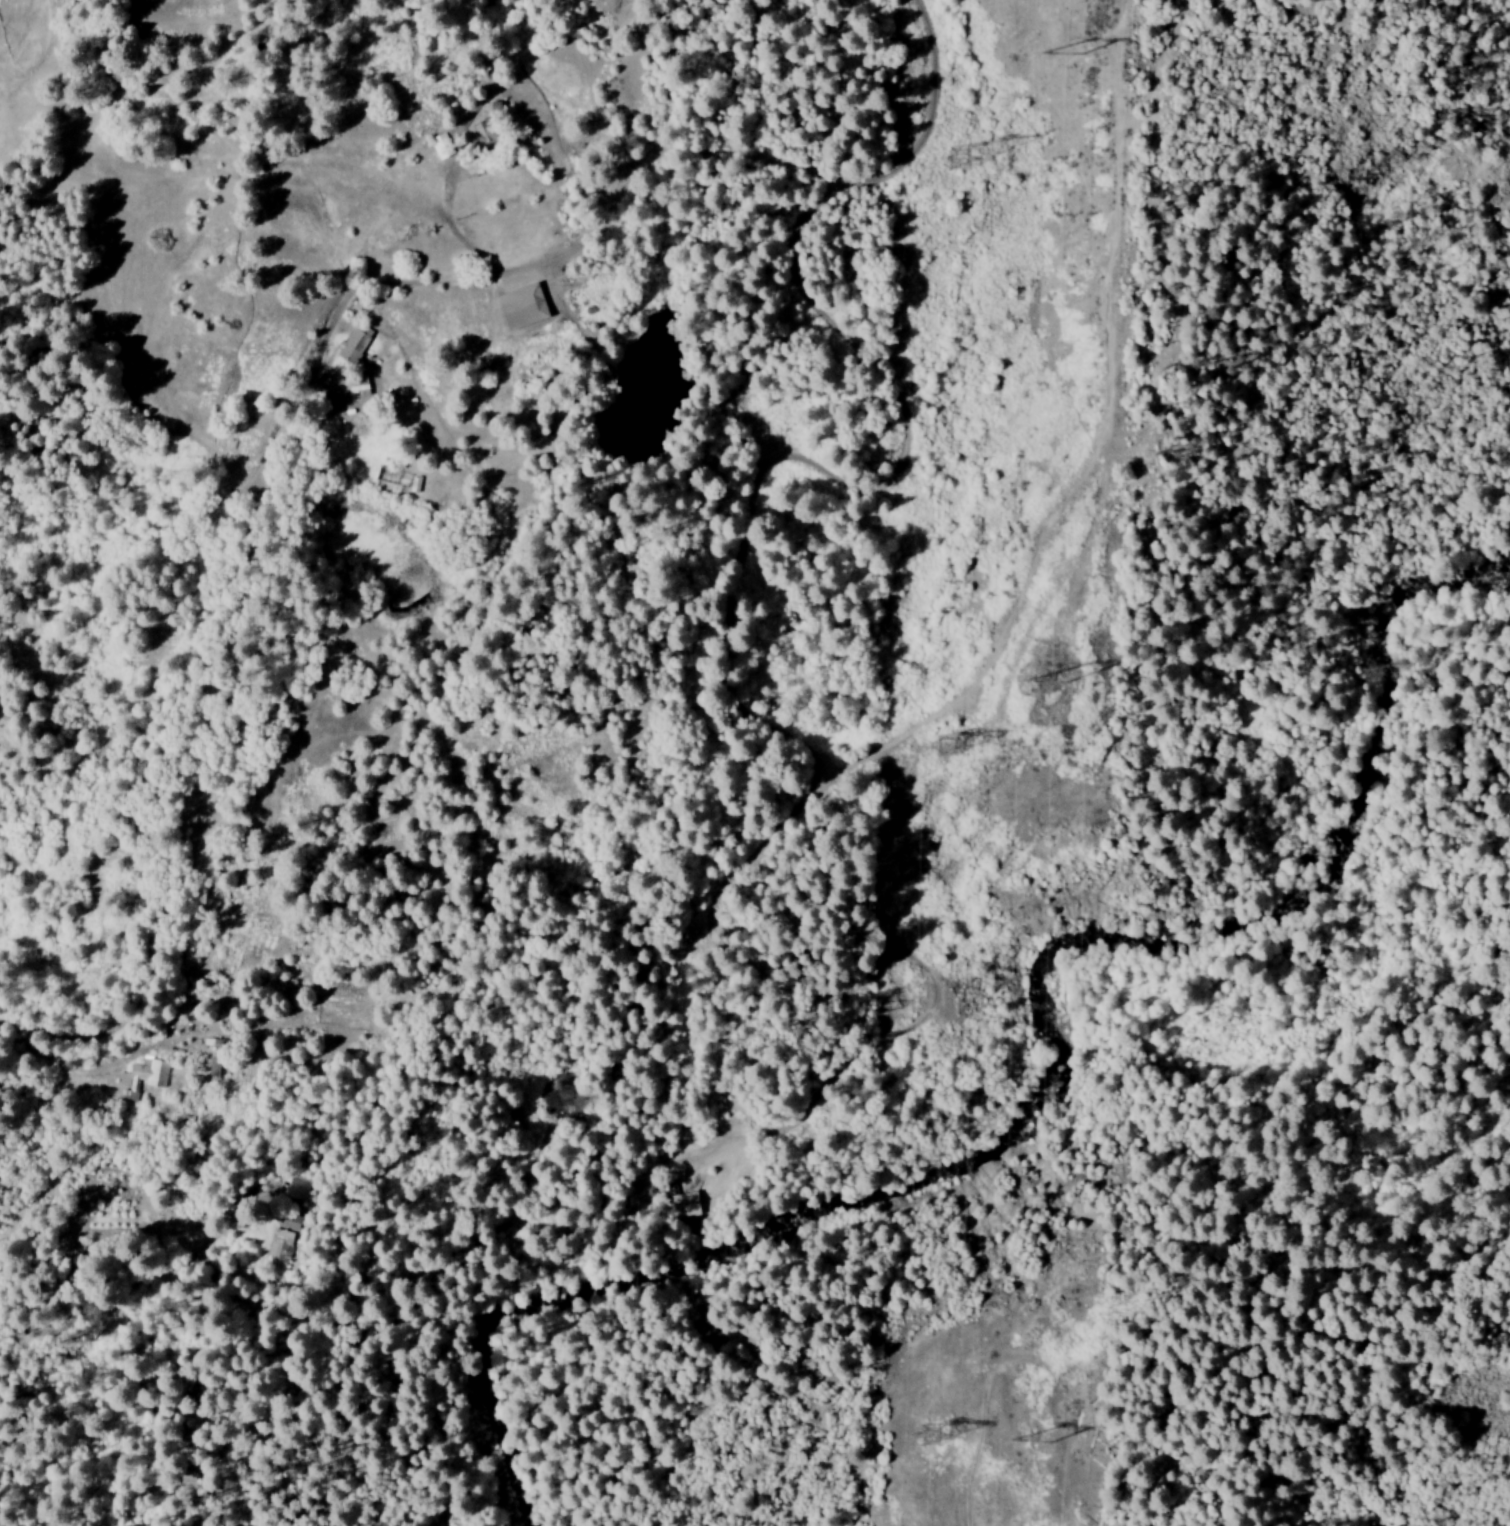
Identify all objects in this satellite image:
power tower: (1064, 49)
power tower: (949, 151)
road: (728, 175)
road: (237, 184)
building: (518, 307)
building: (354, 344)
building: (387, 476)
power tower: (1046, 676)
road: (223, 680)
power tower: (943, 739)
building: (140, 1077)
building: (297, 1188)
building: (683, 1205)
building: (289, 1221)
building: (279, 1247)
road: (23, 1358)
power tower: (1029, 1435)
power tower: (929, 1436)

